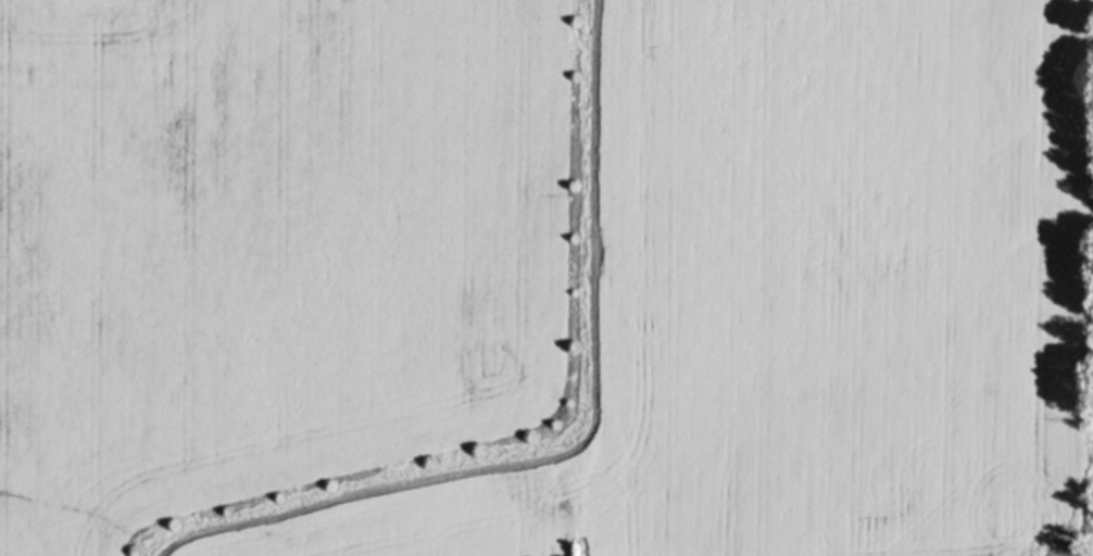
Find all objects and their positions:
crop: (546, 278)

